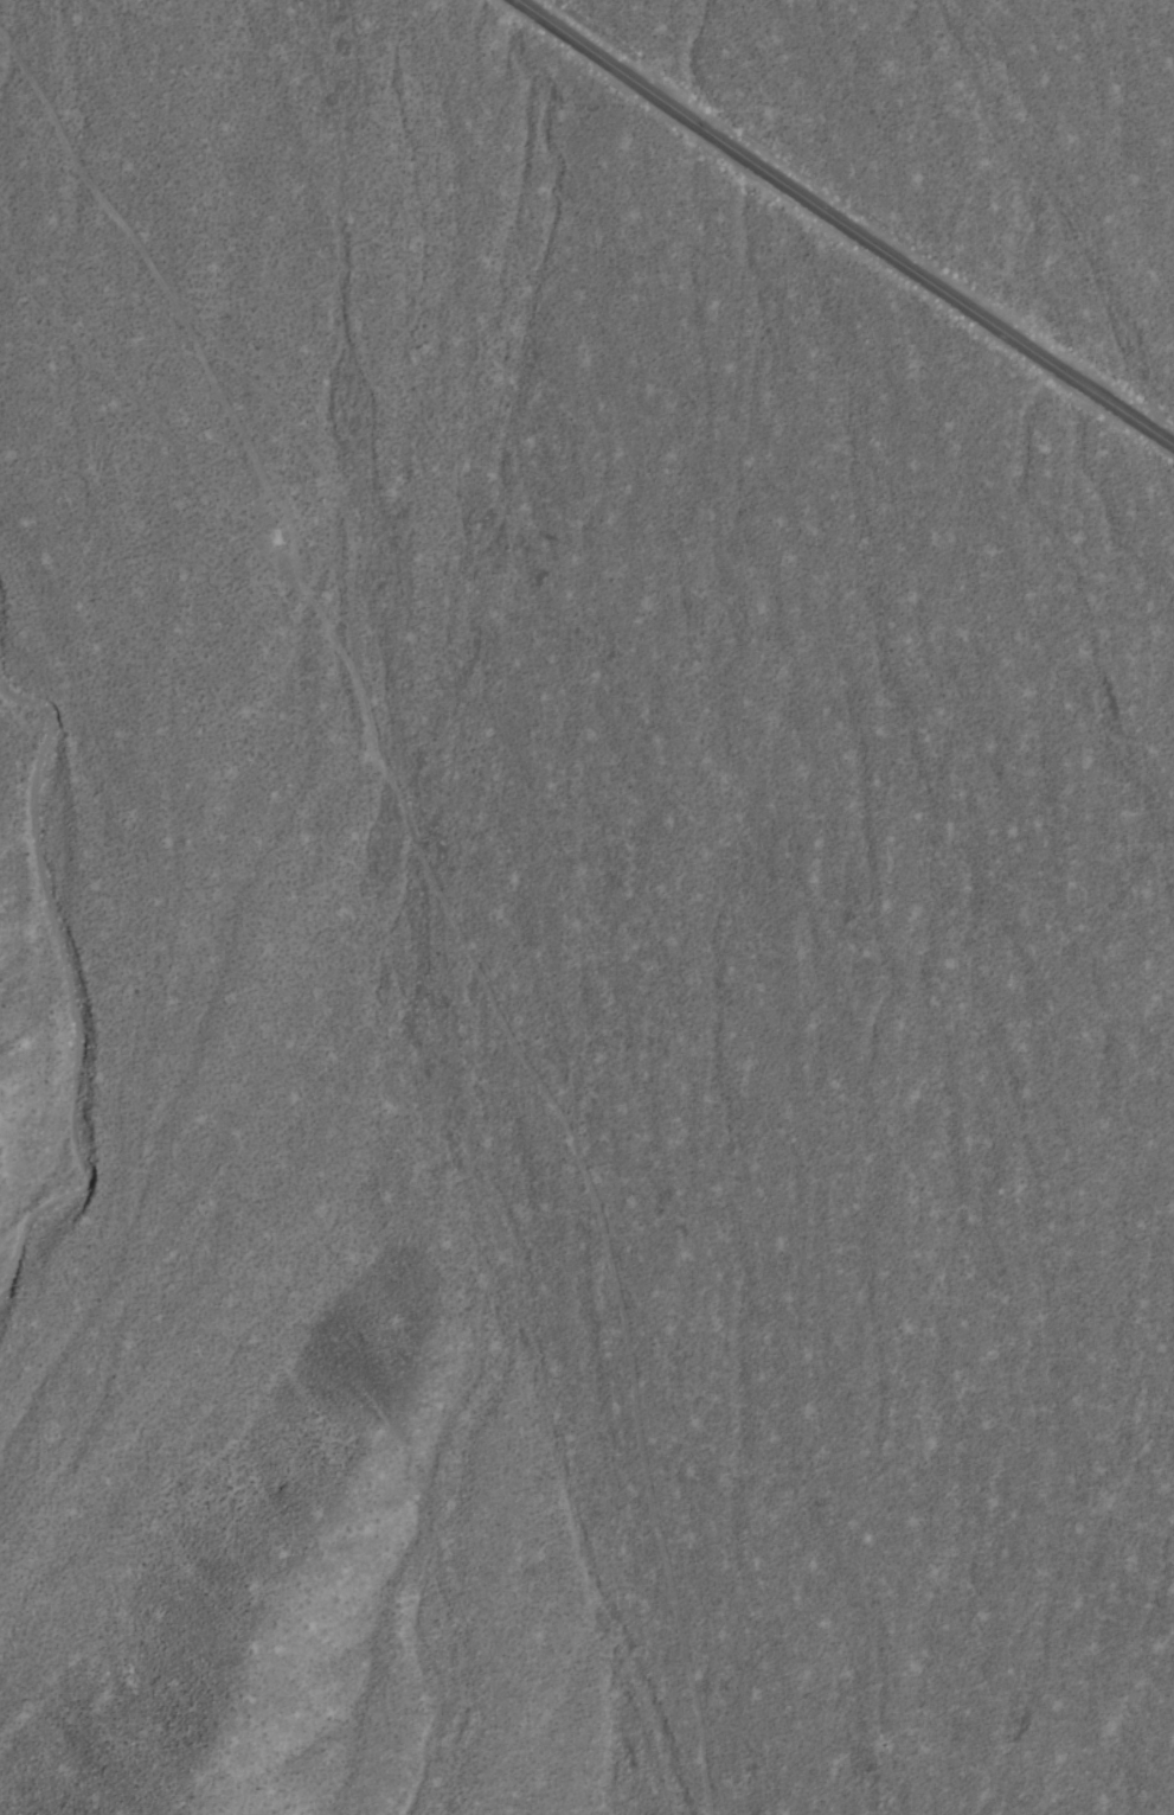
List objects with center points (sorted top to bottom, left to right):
road: (846, 219)
road: (436, 883)

